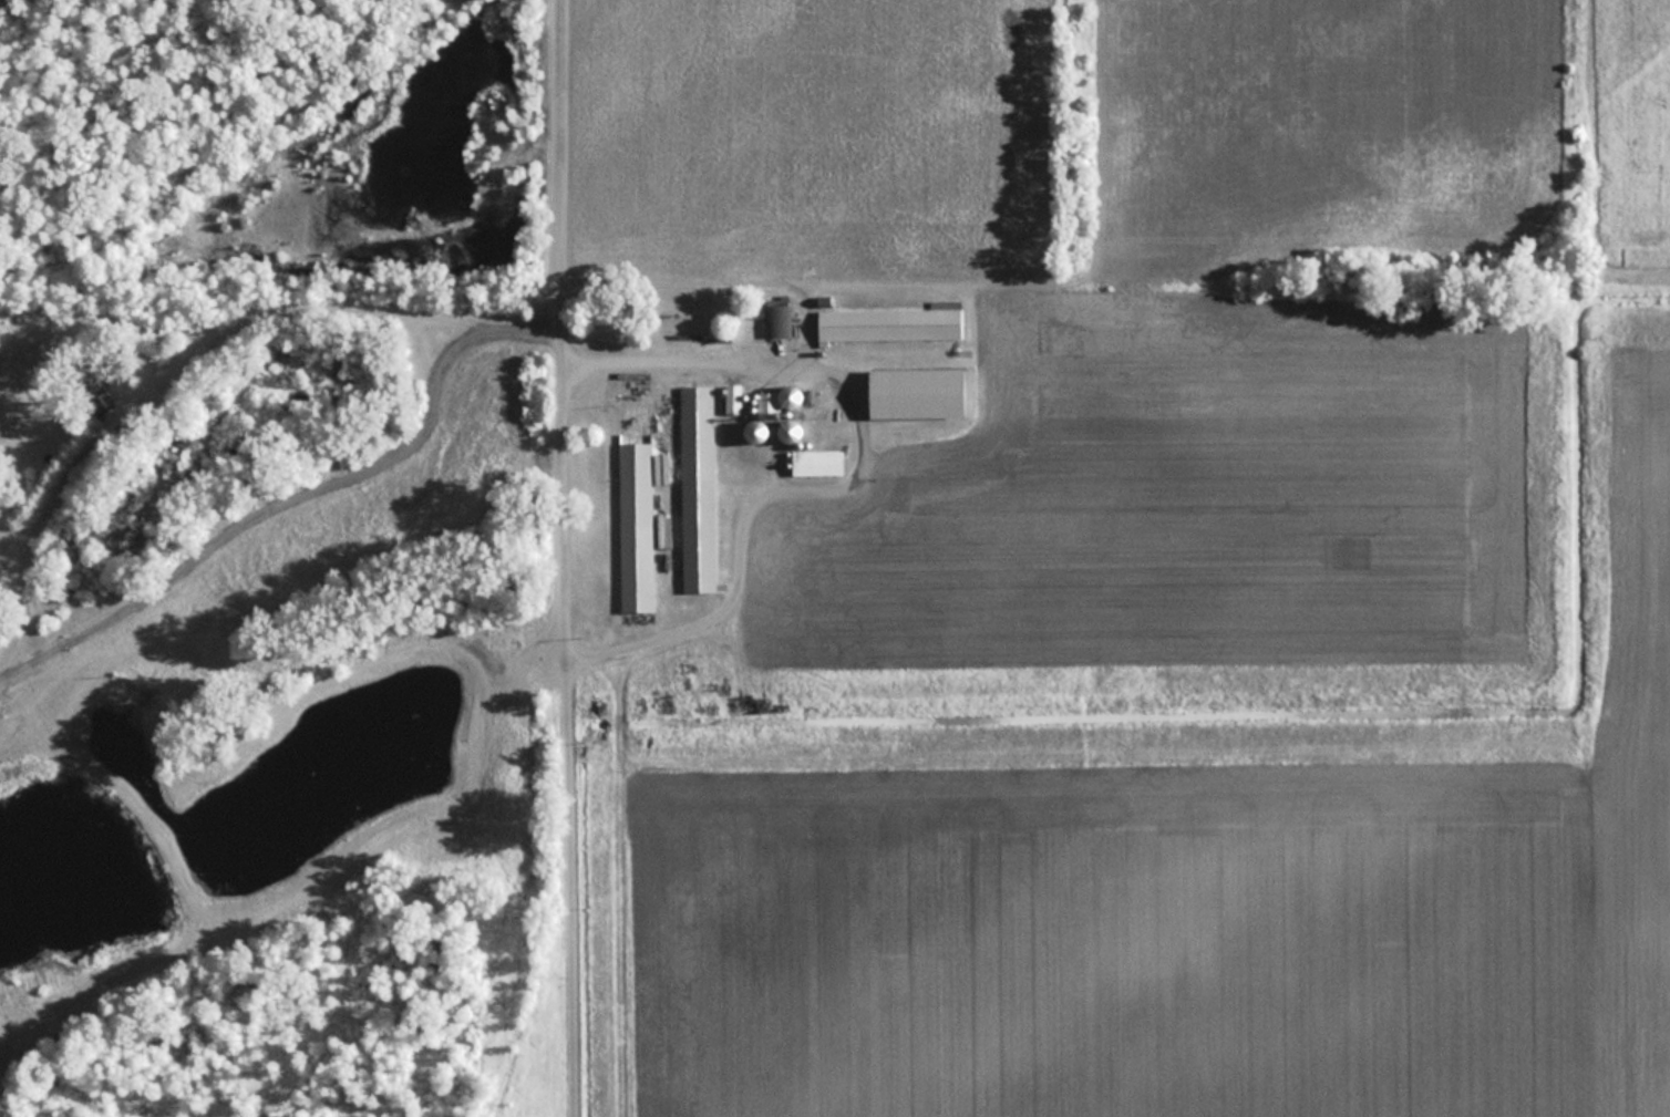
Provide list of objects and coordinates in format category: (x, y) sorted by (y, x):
building: (777, 319)
building: (889, 323)
building: (918, 392)
building: (733, 399)
building: (766, 404)
building: (792, 430)
building: (757, 431)
building: (818, 462)
road: (297, 488)
building: (698, 488)
building: (636, 526)
road: (561, 558)

